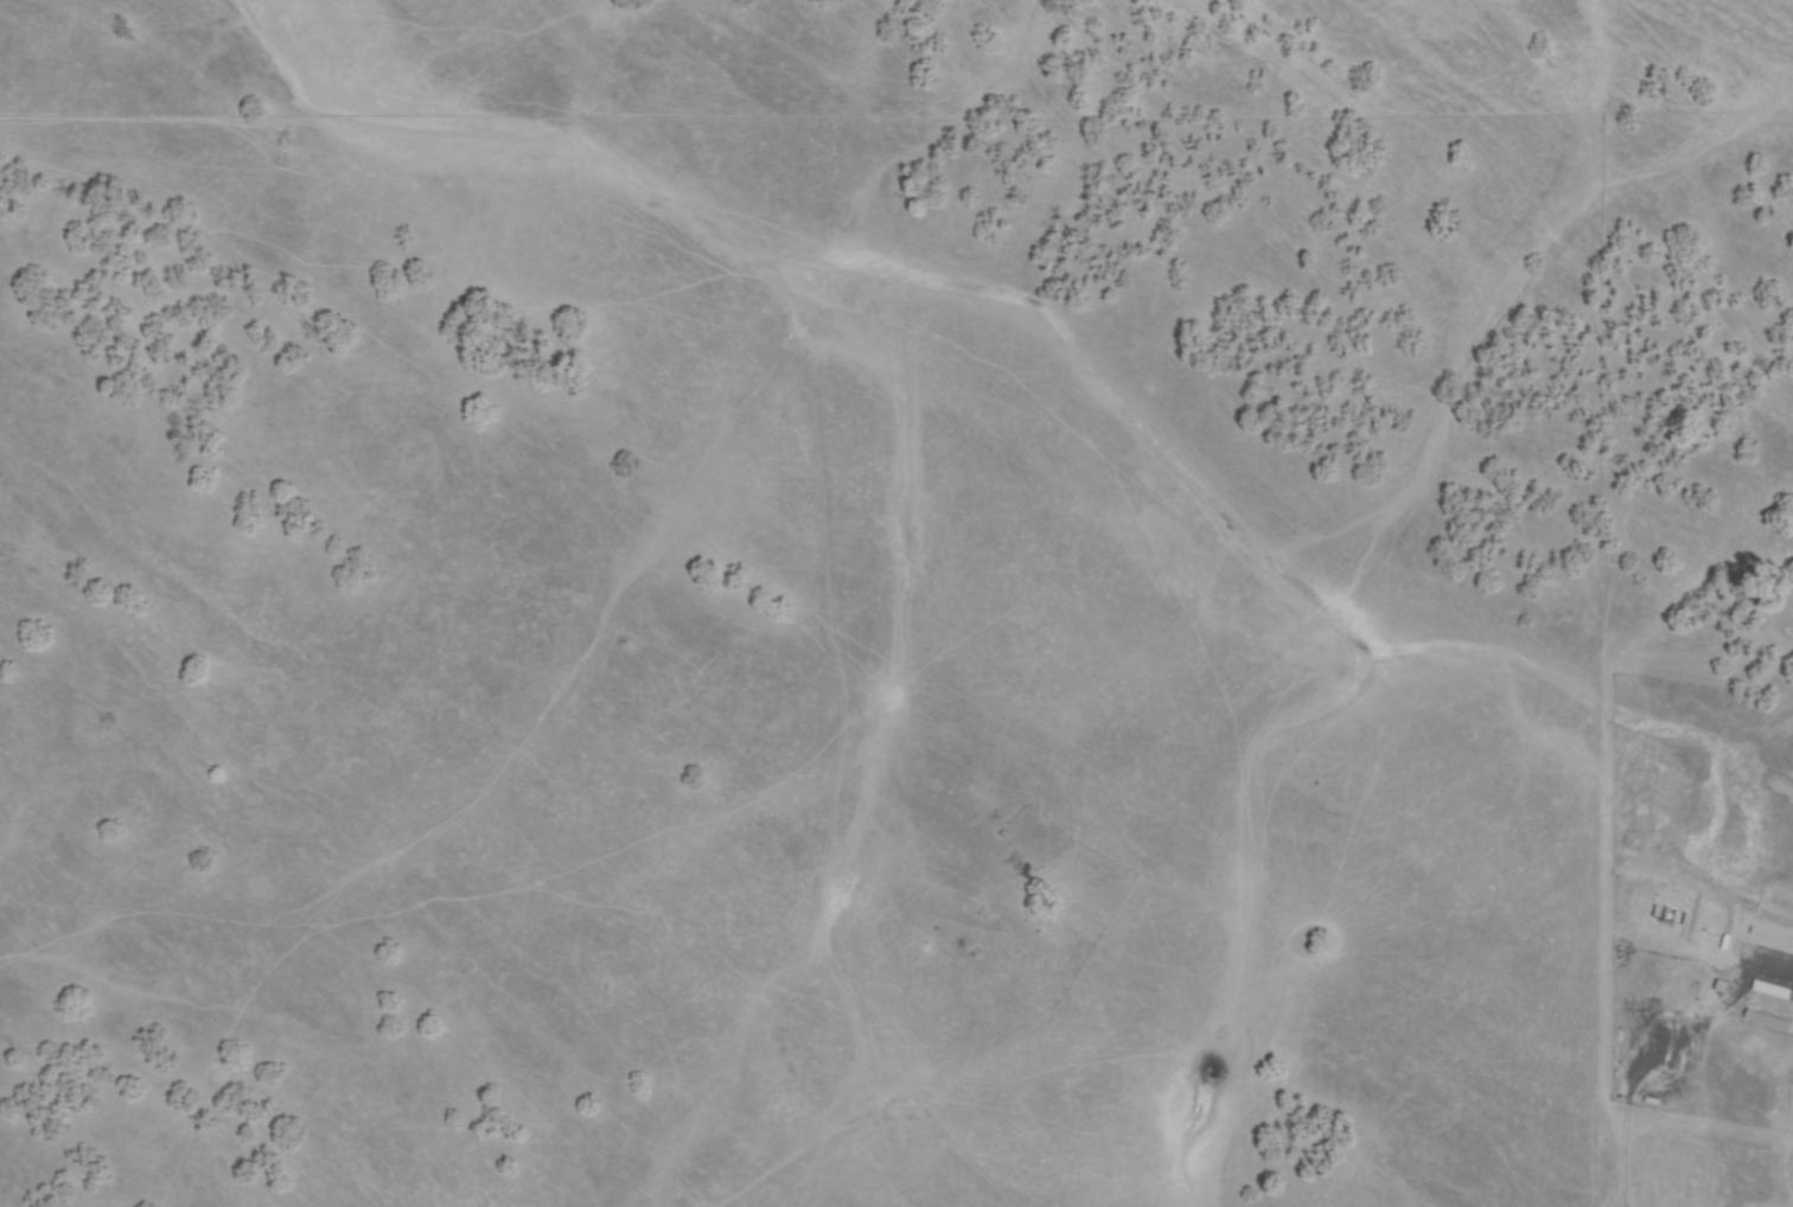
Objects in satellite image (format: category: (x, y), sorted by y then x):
road: (210, 226)
road: (841, 611)
building: (1721, 986)
building: (1774, 990)

